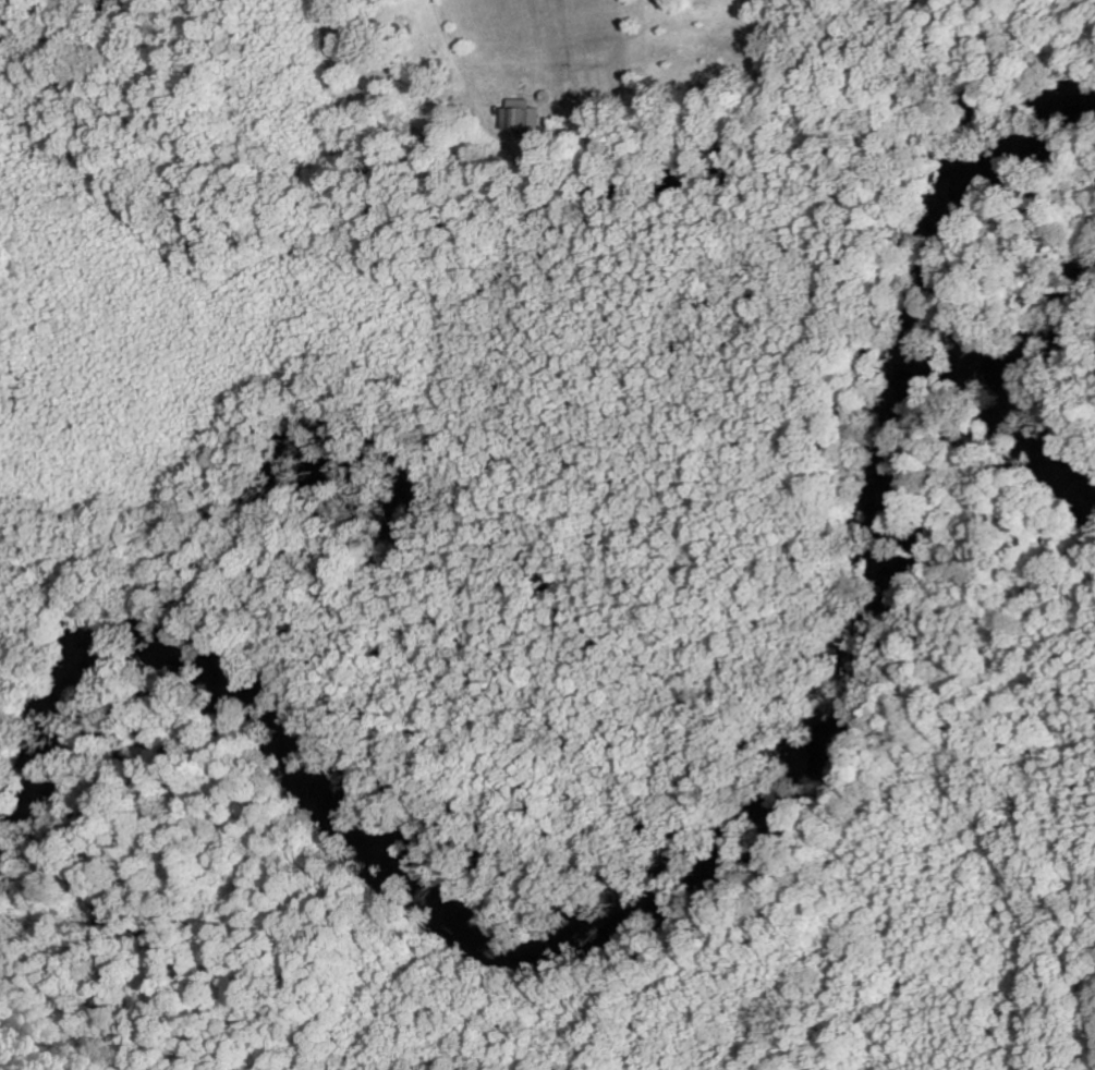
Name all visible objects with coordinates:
building: (526, 115)
river: (1041, 386)
river: (674, 905)

